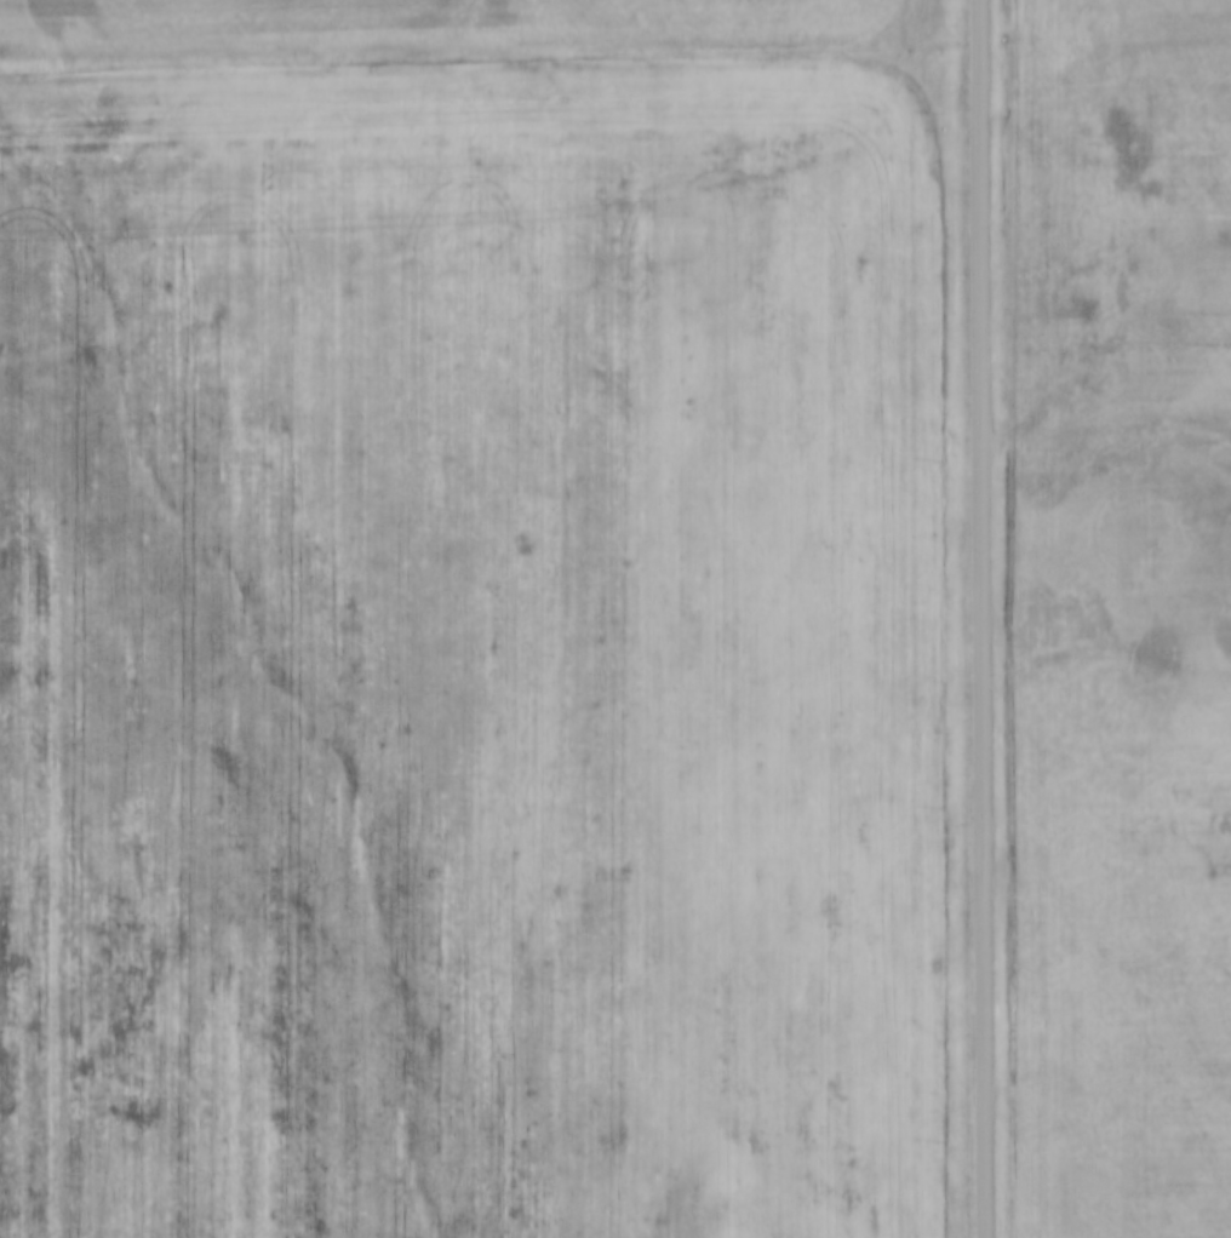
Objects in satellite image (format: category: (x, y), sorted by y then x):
road: (981, 619)

